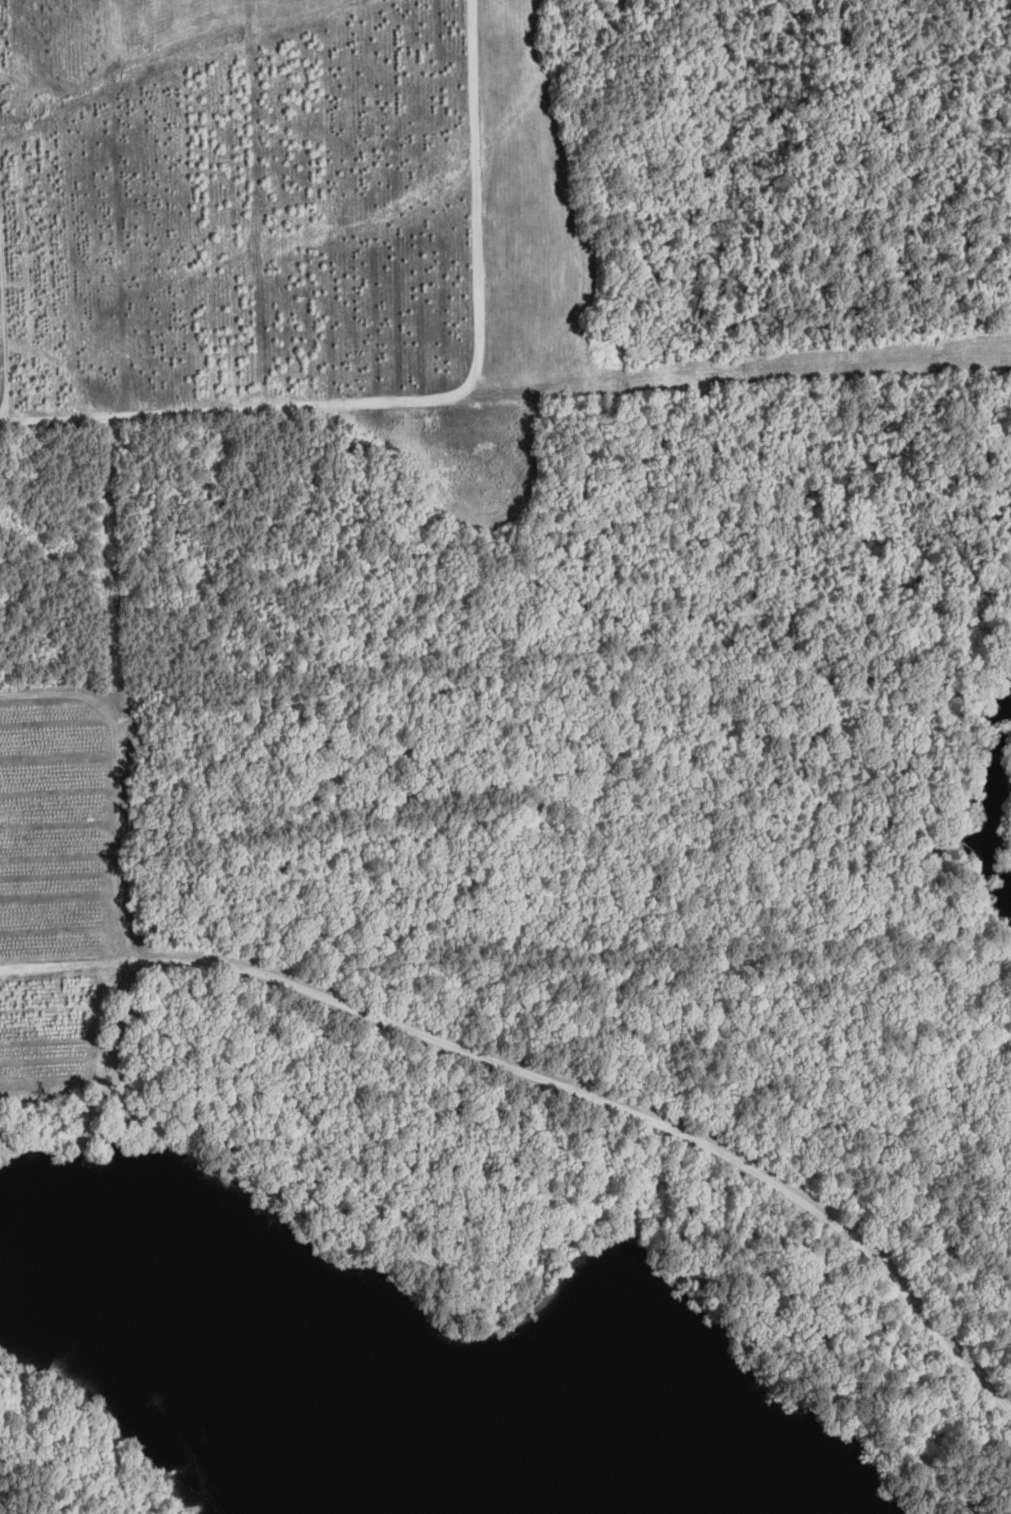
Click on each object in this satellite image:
river: (986, 790)

